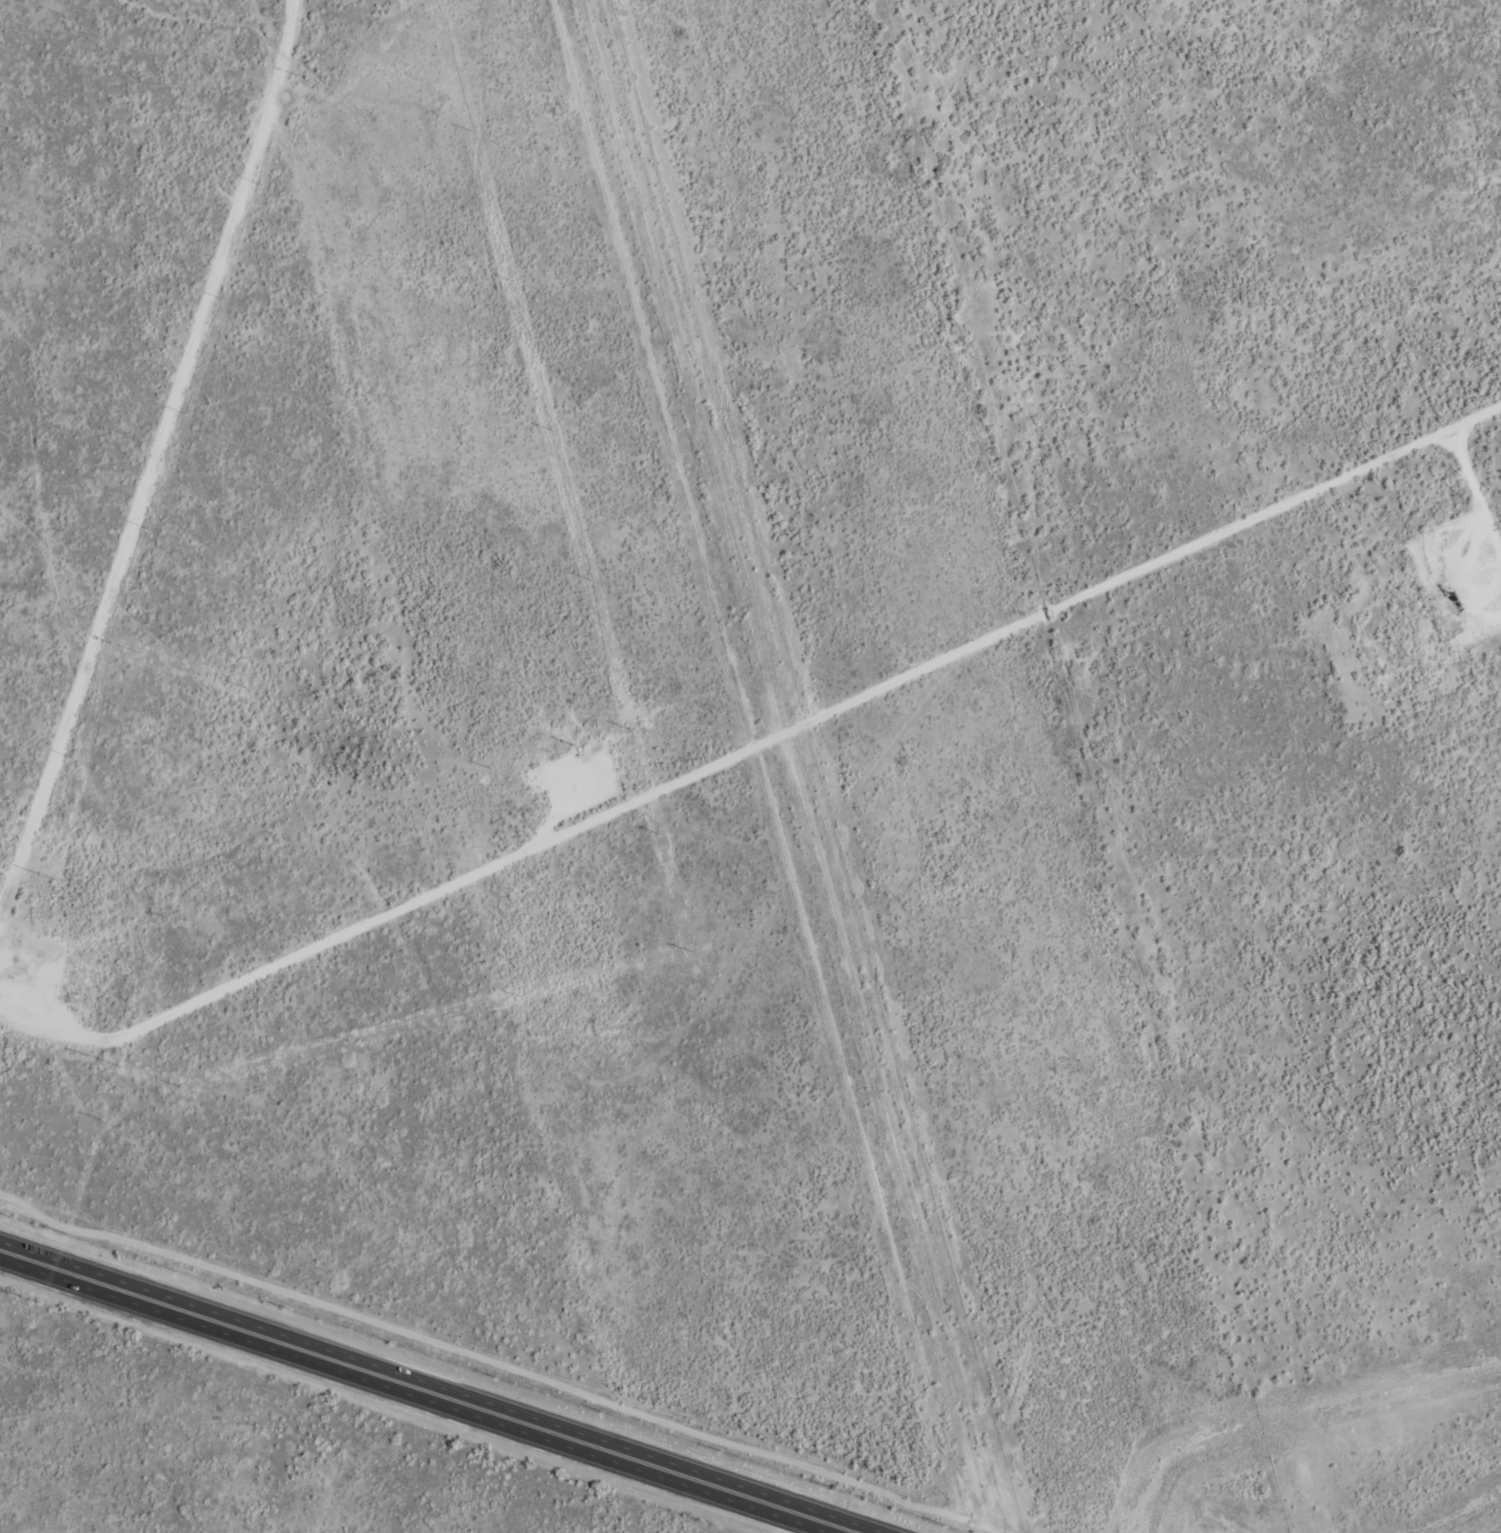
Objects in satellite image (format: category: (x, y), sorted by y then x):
road: (424, 1393)

